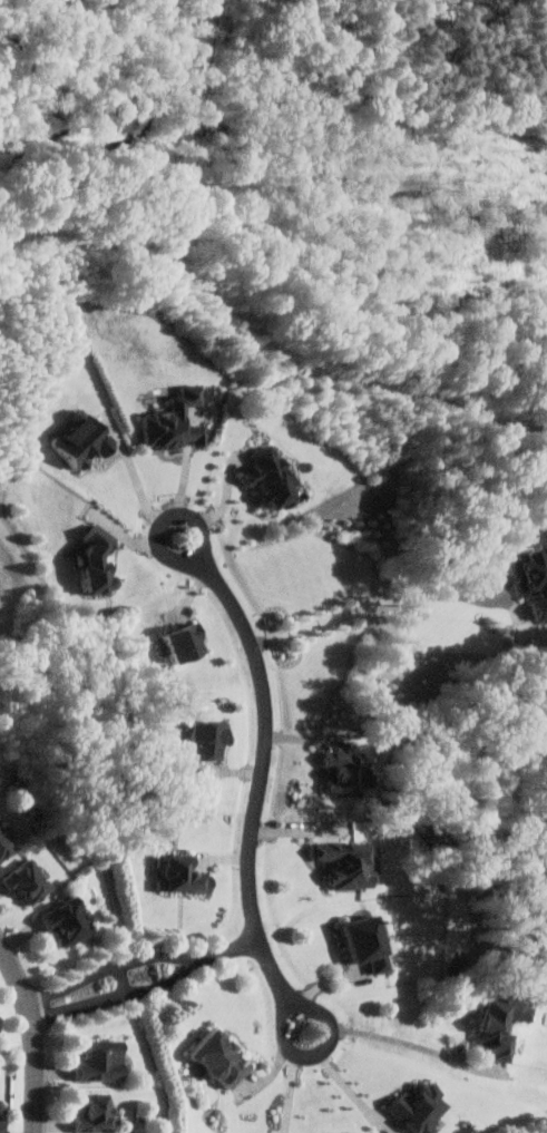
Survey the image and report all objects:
road: (211, 135)
building: (174, 419)
building: (80, 437)
building: (270, 477)
road: (147, 498)
road: (228, 505)
building: (92, 559)
building: (533, 582)
road: (374, 604)
building: (182, 642)
building: (205, 740)
building: (348, 772)
road: (263, 780)
building: (3, 844)
building: (345, 865)
building: (180, 876)
building: (23, 883)
building: (64, 922)
building: (358, 944)
road: (148, 975)
building: (495, 1027)
road: (37, 1033)
road: (411, 1043)
building: (219, 1061)
building: (99, 1062)
road: (297, 1082)
road: (351, 1086)
building: (420, 1107)
building: (91, 1114)
building: (0, 1126)

